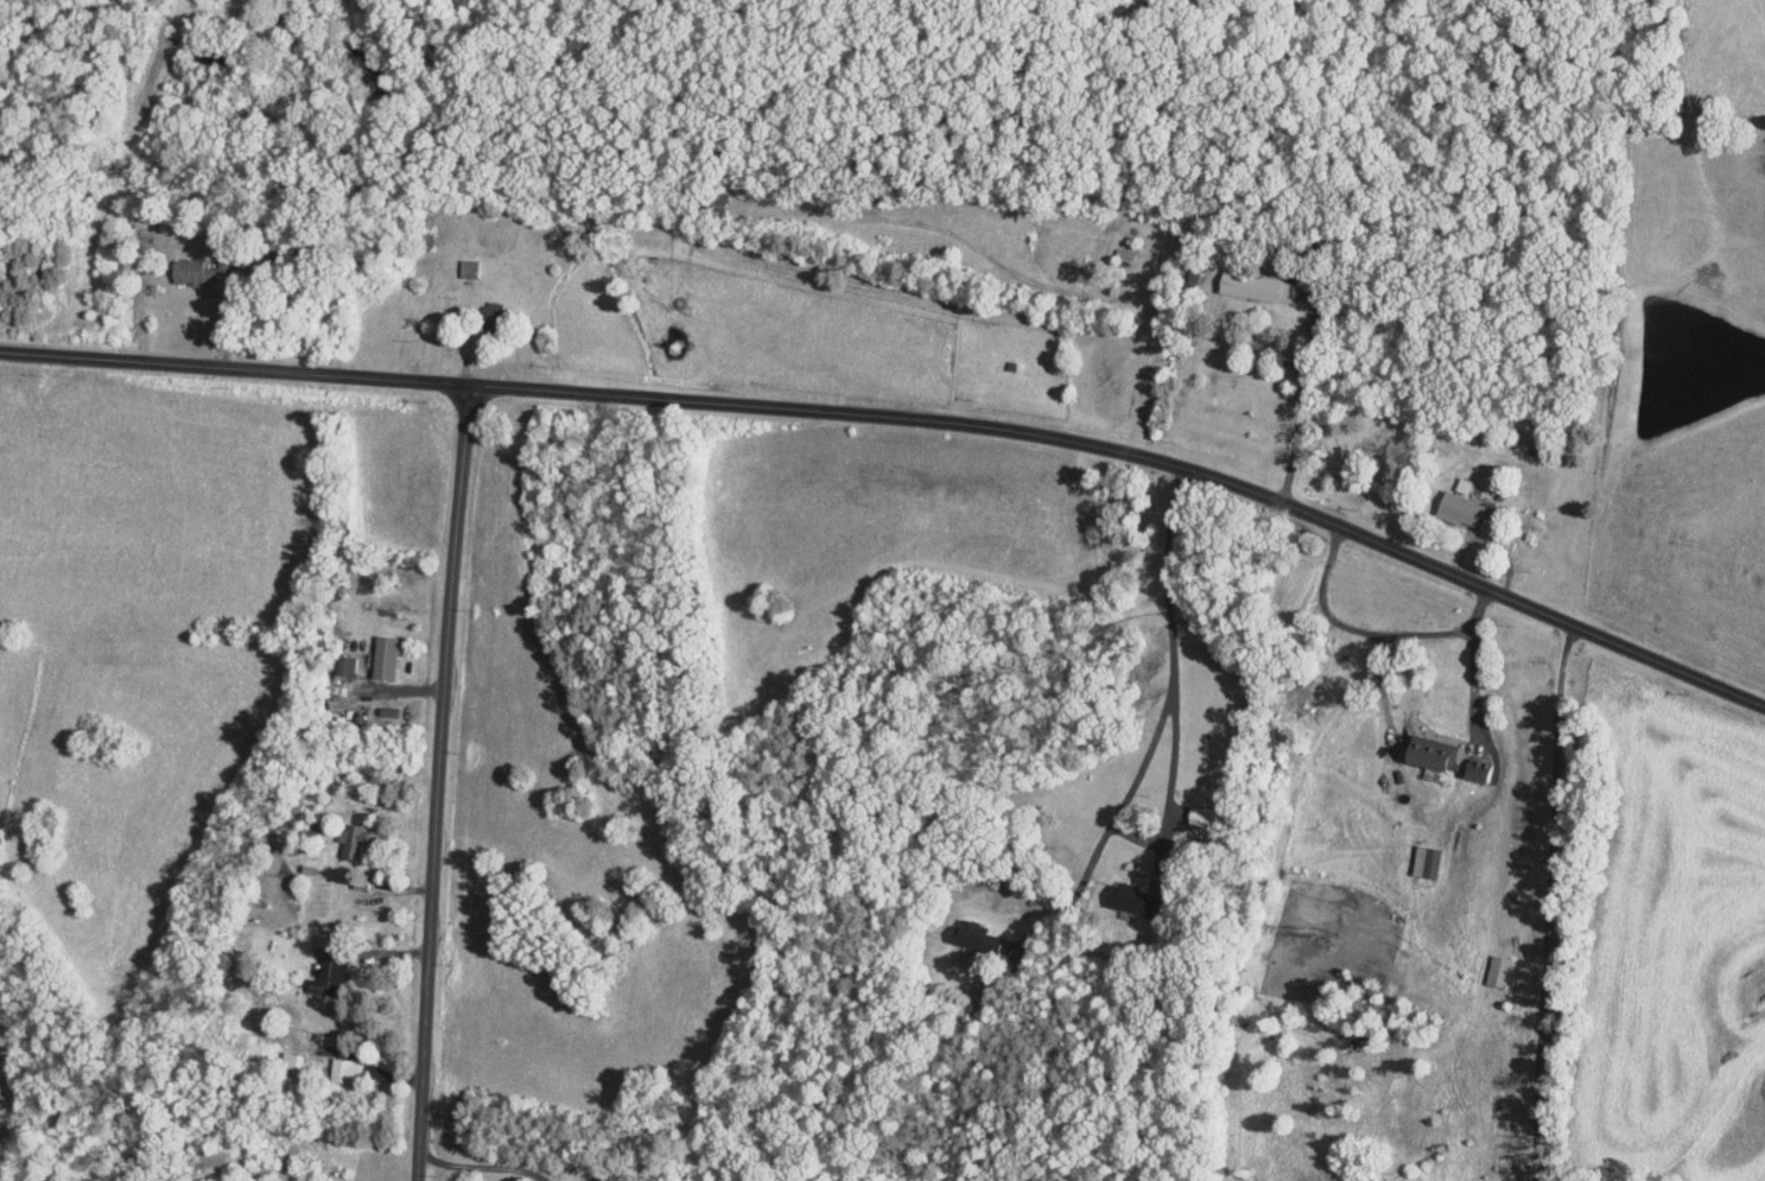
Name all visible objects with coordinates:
building: (466, 267)
building: (185, 269)
building: (1249, 285)
building: (488, 310)
road: (1301, 396)
road: (908, 417)
building: (1459, 508)
road: (1367, 631)
building: (382, 656)
building: (343, 665)
road: (1474, 678)
road: (409, 688)
road: (1174, 751)
building: (1427, 753)
building: (1474, 770)
road: (443, 787)
building: (1195, 814)
building: (349, 838)
building: (1428, 862)
building: (1119, 894)
road: (1548, 906)
building: (969, 935)
building: (323, 973)
building: (288, 1059)
building: (342, 1069)
road: (481, 1164)

